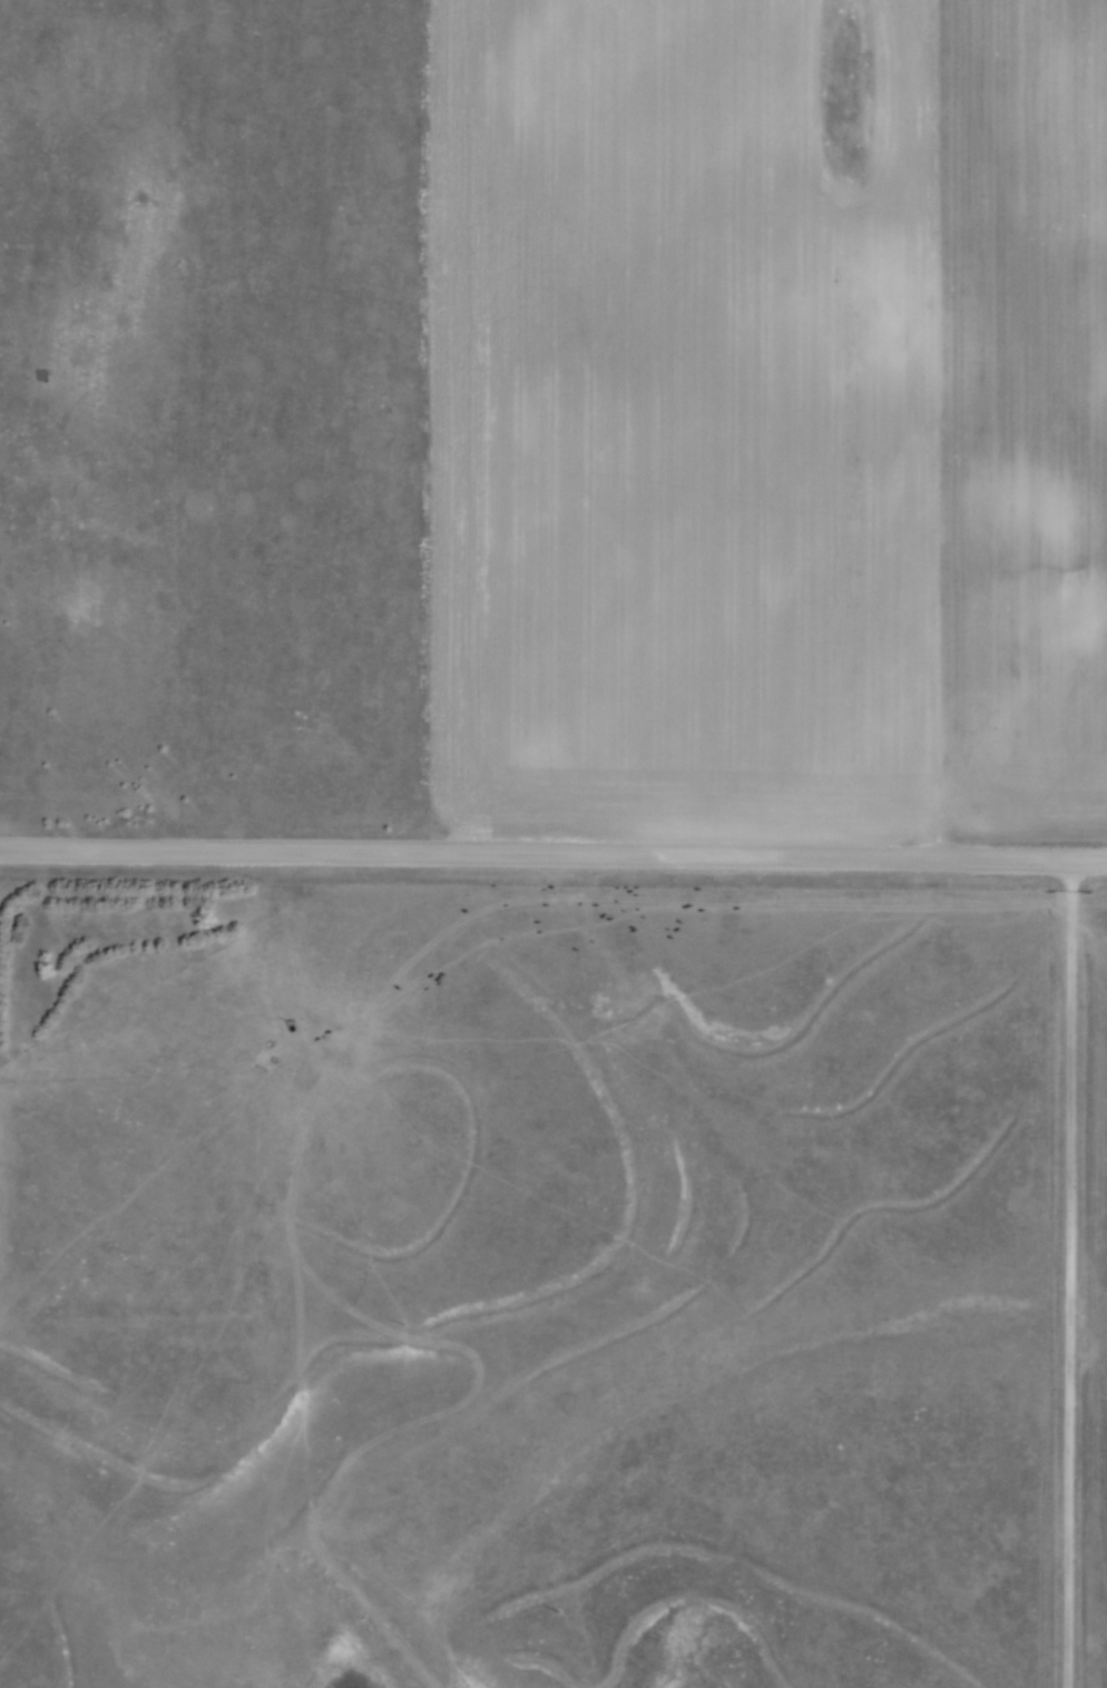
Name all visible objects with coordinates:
road: (553, 847)
road: (1074, 1269)
dam: (363, 1616)

